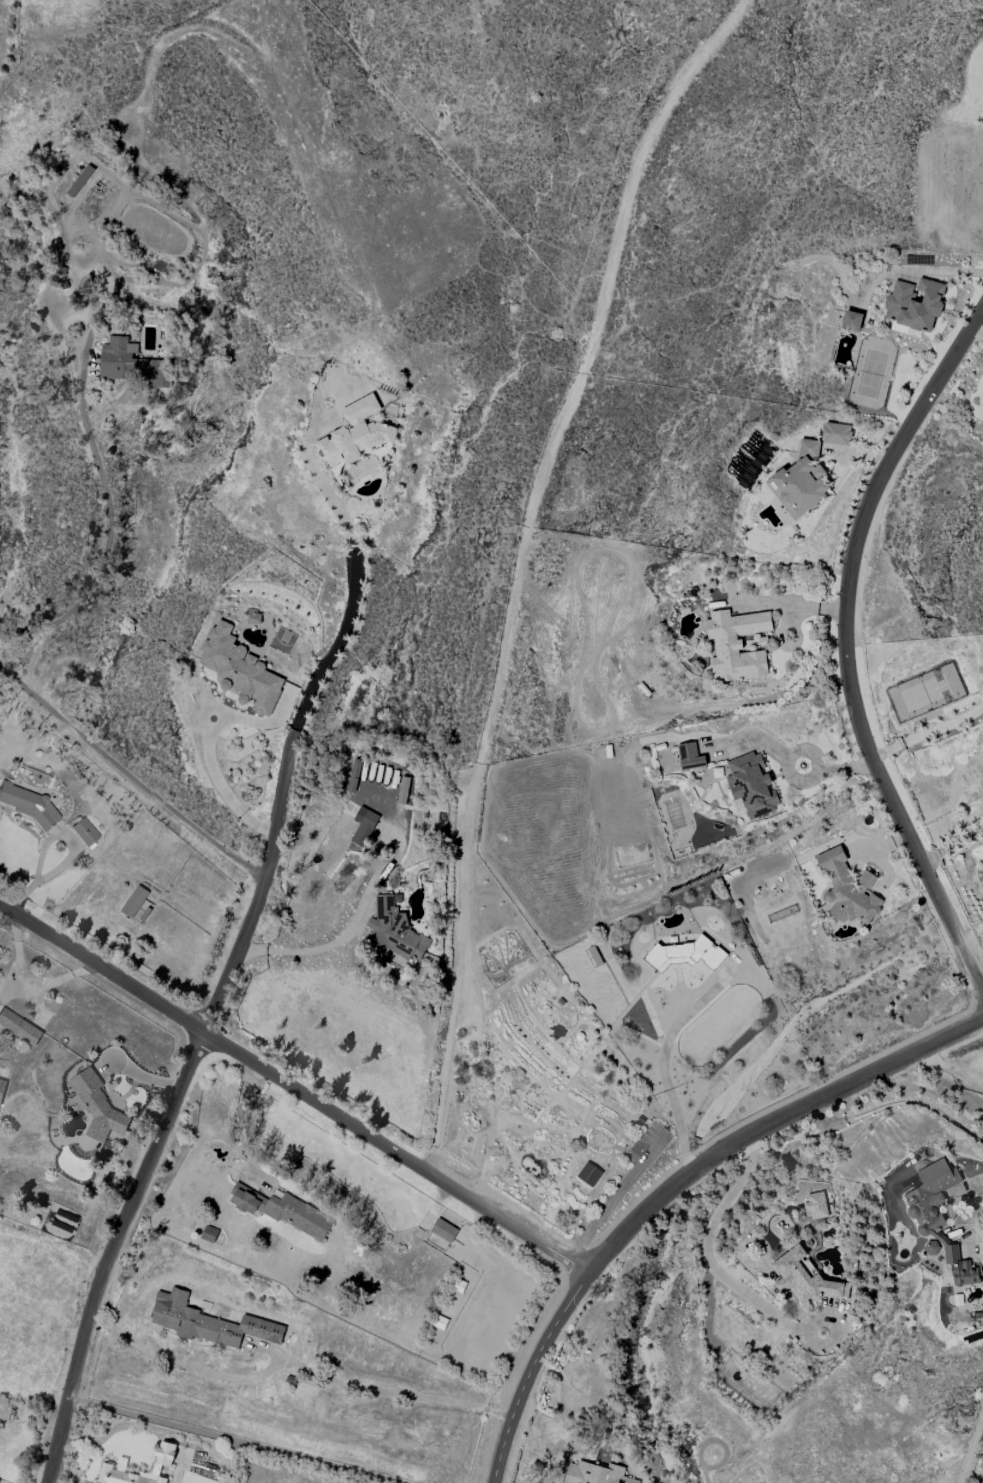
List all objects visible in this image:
building: (915, 304)
building: (851, 321)
road: (979, 326)
building: (132, 364)
building: (355, 434)
building: (836, 434)
building: (800, 482)
road: (103, 549)
road: (520, 566)
building: (736, 644)
road: (846, 648)
building: (240, 670)
road: (927, 733)
building: (690, 756)
road: (816, 762)
building: (353, 775)
road: (130, 776)
building: (751, 786)
building: (26, 802)
building: (363, 826)
building: (85, 831)
building: (848, 889)
building: (134, 901)
building: (395, 930)
road: (319, 950)
building: (685, 954)
road: (534, 968)
road: (214, 1021)
building: (19, 1027)
road: (579, 1028)
building: (579, 1038)
road: (491, 1062)
road: (584, 1062)
road: (663, 1065)
road: (580, 1066)
park: (528, 1070)
building: (455, 1078)
building: (2, 1088)
road: (293, 1091)
road: (548, 1092)
road: (519, 1095)
road: (919, 1098)
road: (533, 1101)
road: (920, 1103)
building: (98, 1107)
road: (634, 1107)
road: (631, 1114)
road: (622, 1117)
road: (825, 1119)
road: (590, 1127)
road: (557, 1129)
building: (638, 1129)
road: (531, 1136)
road: (671, 1138)
road: (569, 1144)
road: (548, 1145)
road: (586, 1146)
road: (626, 1147)
road: (566, 1150)
road: (484, 1158)
road: (609, 1170)
building: (589, 1174)
road: (516, 1177)
road: (556, 1183)
road: (584, 1189)
road: (675, 1189)
road: (588, 1195)
road: (972, 1198)
road: (565, 1204)
road: (589, 1204)
building: (816, 1206)
building: (282, 1211)
road: (604, 1214)
building: (938, 1216)
building: (443, 1230)
building: (209, 1233)
building: (932, 1248)
road: (709, 1260)
building: (804, 1278)
building: (209, 1322)
road: (294, 1362)
building: (165, 1454)
building: (594, 1474)
building: (123, 1476)

